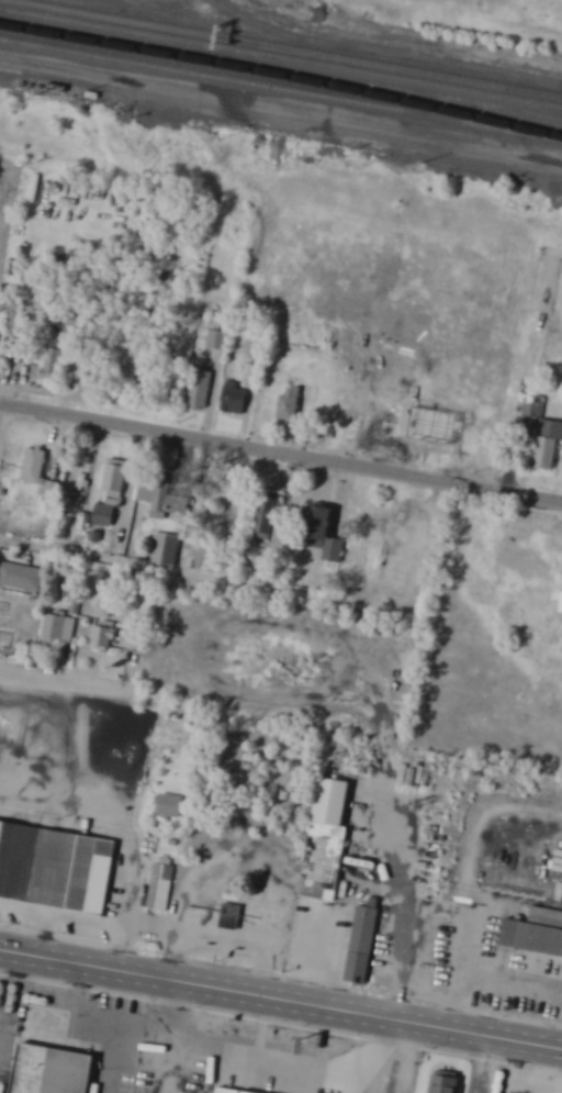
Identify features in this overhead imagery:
railway: (281, 51)
railway: (281, 60)
railway: (282, 76)
railway: (281, 93)
building: (15, 315)
building: (218, 341)
building: (56, 366)
building: (200, 390)
building: (235, 401)
building: (295, 401)
building: (533, 409)
building: (549, 446)
road: (281, 453)
building: (38, 472)
building: (116, 479)
building: (79, 481)
building: (164, 494)
building: (270, 513)
building: (106, 515)
building: (321, 527)
building: (166, 549)
road: (153, 571)
building: (22, 578)
building: (60, 628)
building: (105, 637)
road: (60, 683)
building: (330, 801)
building: (171, 808)
building: (462, 811)
building: (55, 867)
building: (161, 886)
road: (348, 913)
building: (232, 916)
building: (533, 937)
building: (363, 943)
building: (385, 962)
road: (281, 1001)
road: (108, 1025)
road: (486, 1066)
building: (52, 1071)
building: (448, 1083)
building: (228, 1091)

